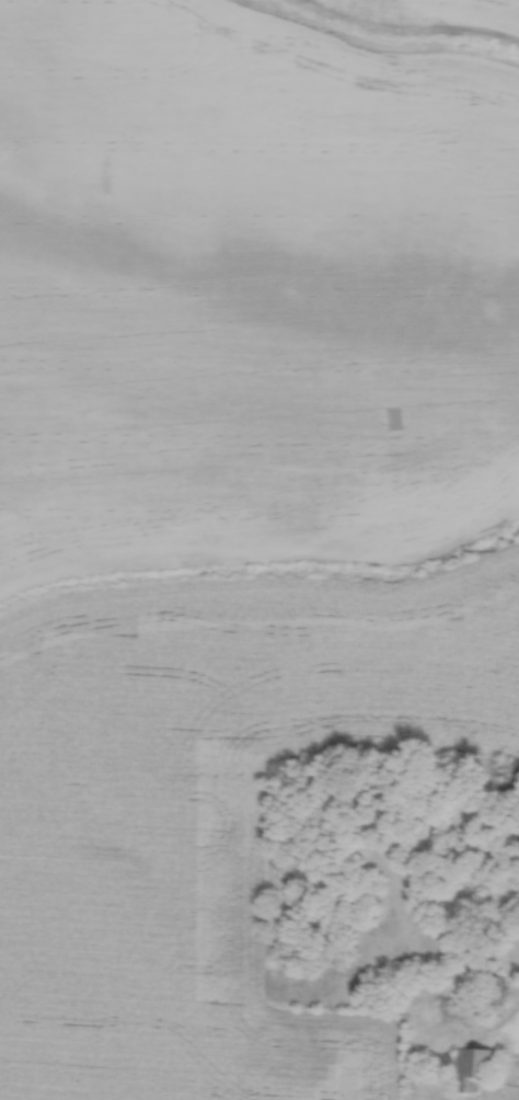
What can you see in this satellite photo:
building: (474, 1064)

